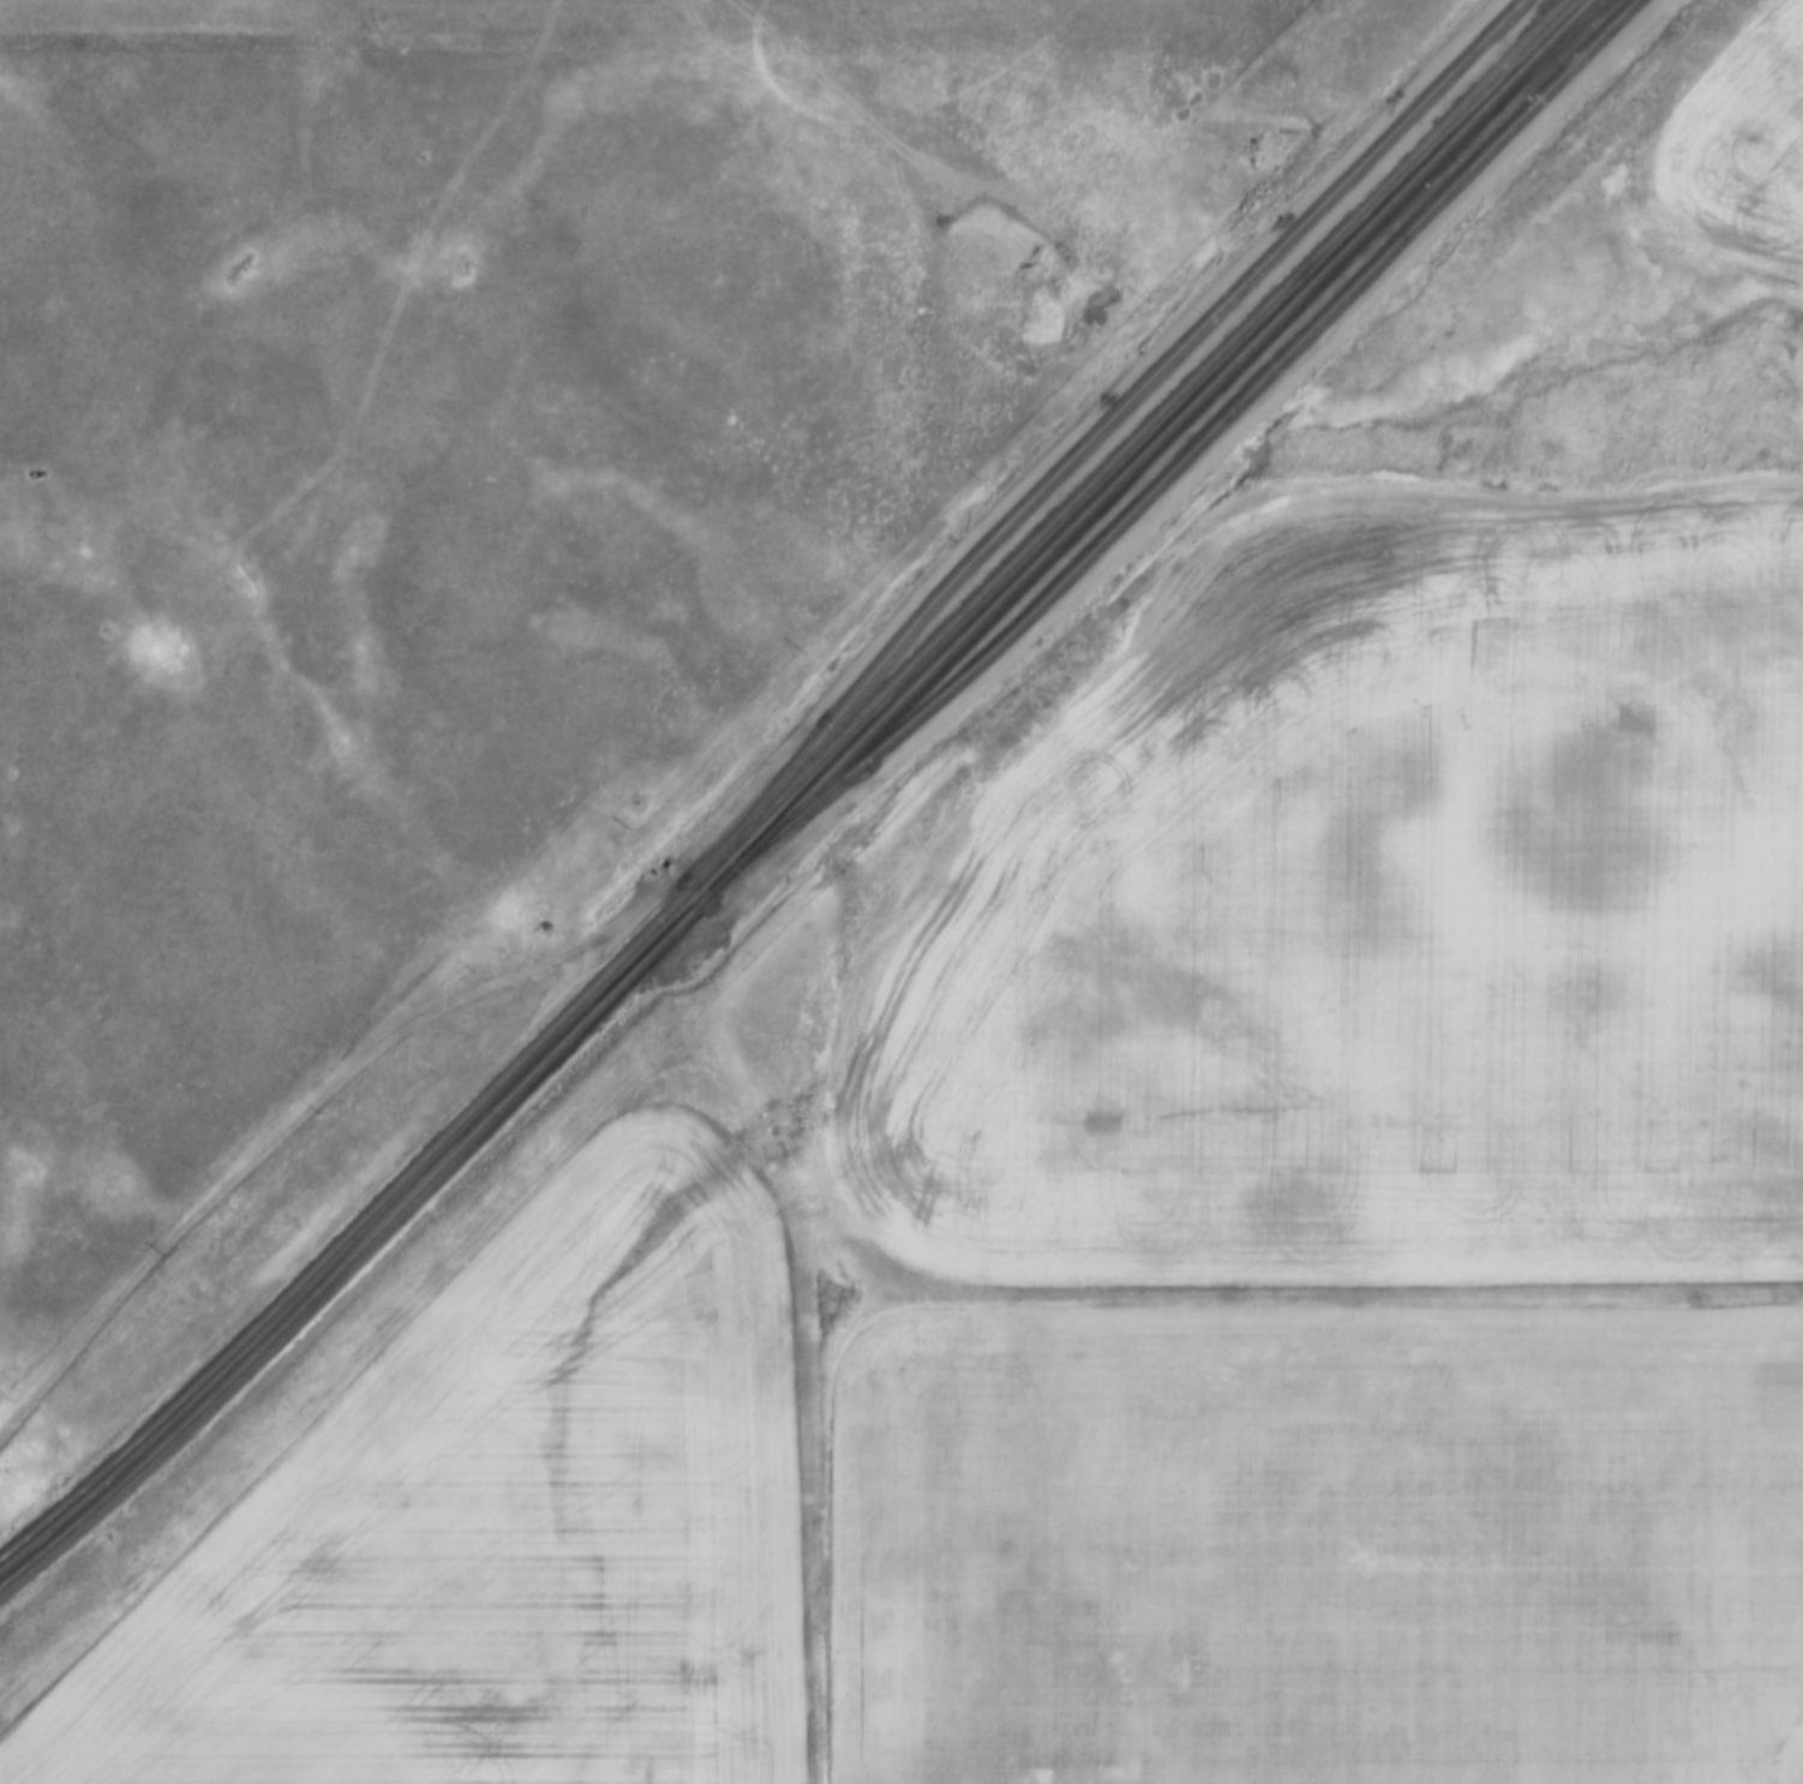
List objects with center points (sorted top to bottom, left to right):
railway: (1528, 40)
railway: (1528, 67)
railway: (1223, 430)
railway: (1096, 433)
railway: (1143, 448)
railway: (1176, 460)
railway: (789, 786)
railway: (359, 1250)

